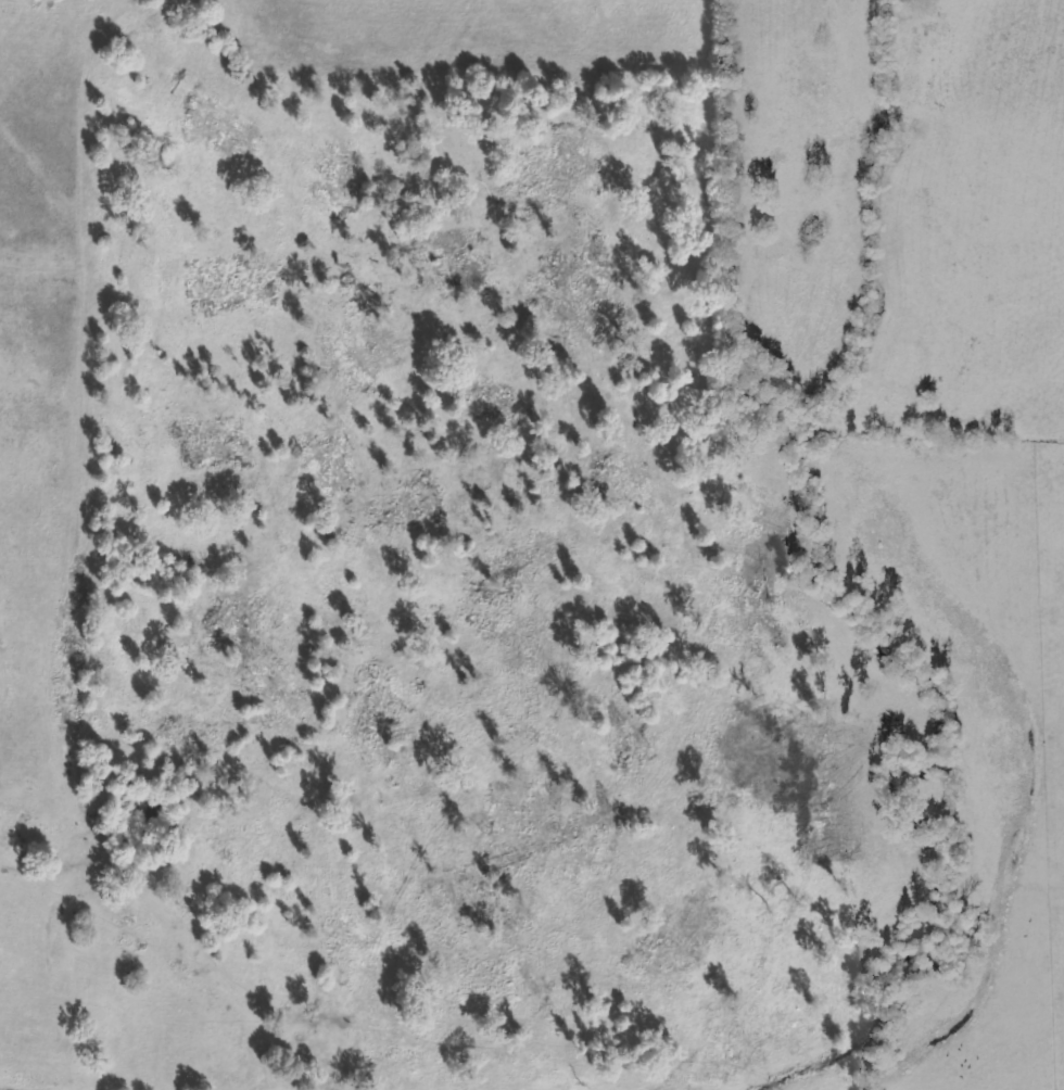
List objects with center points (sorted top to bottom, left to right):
road: (106, 978)

